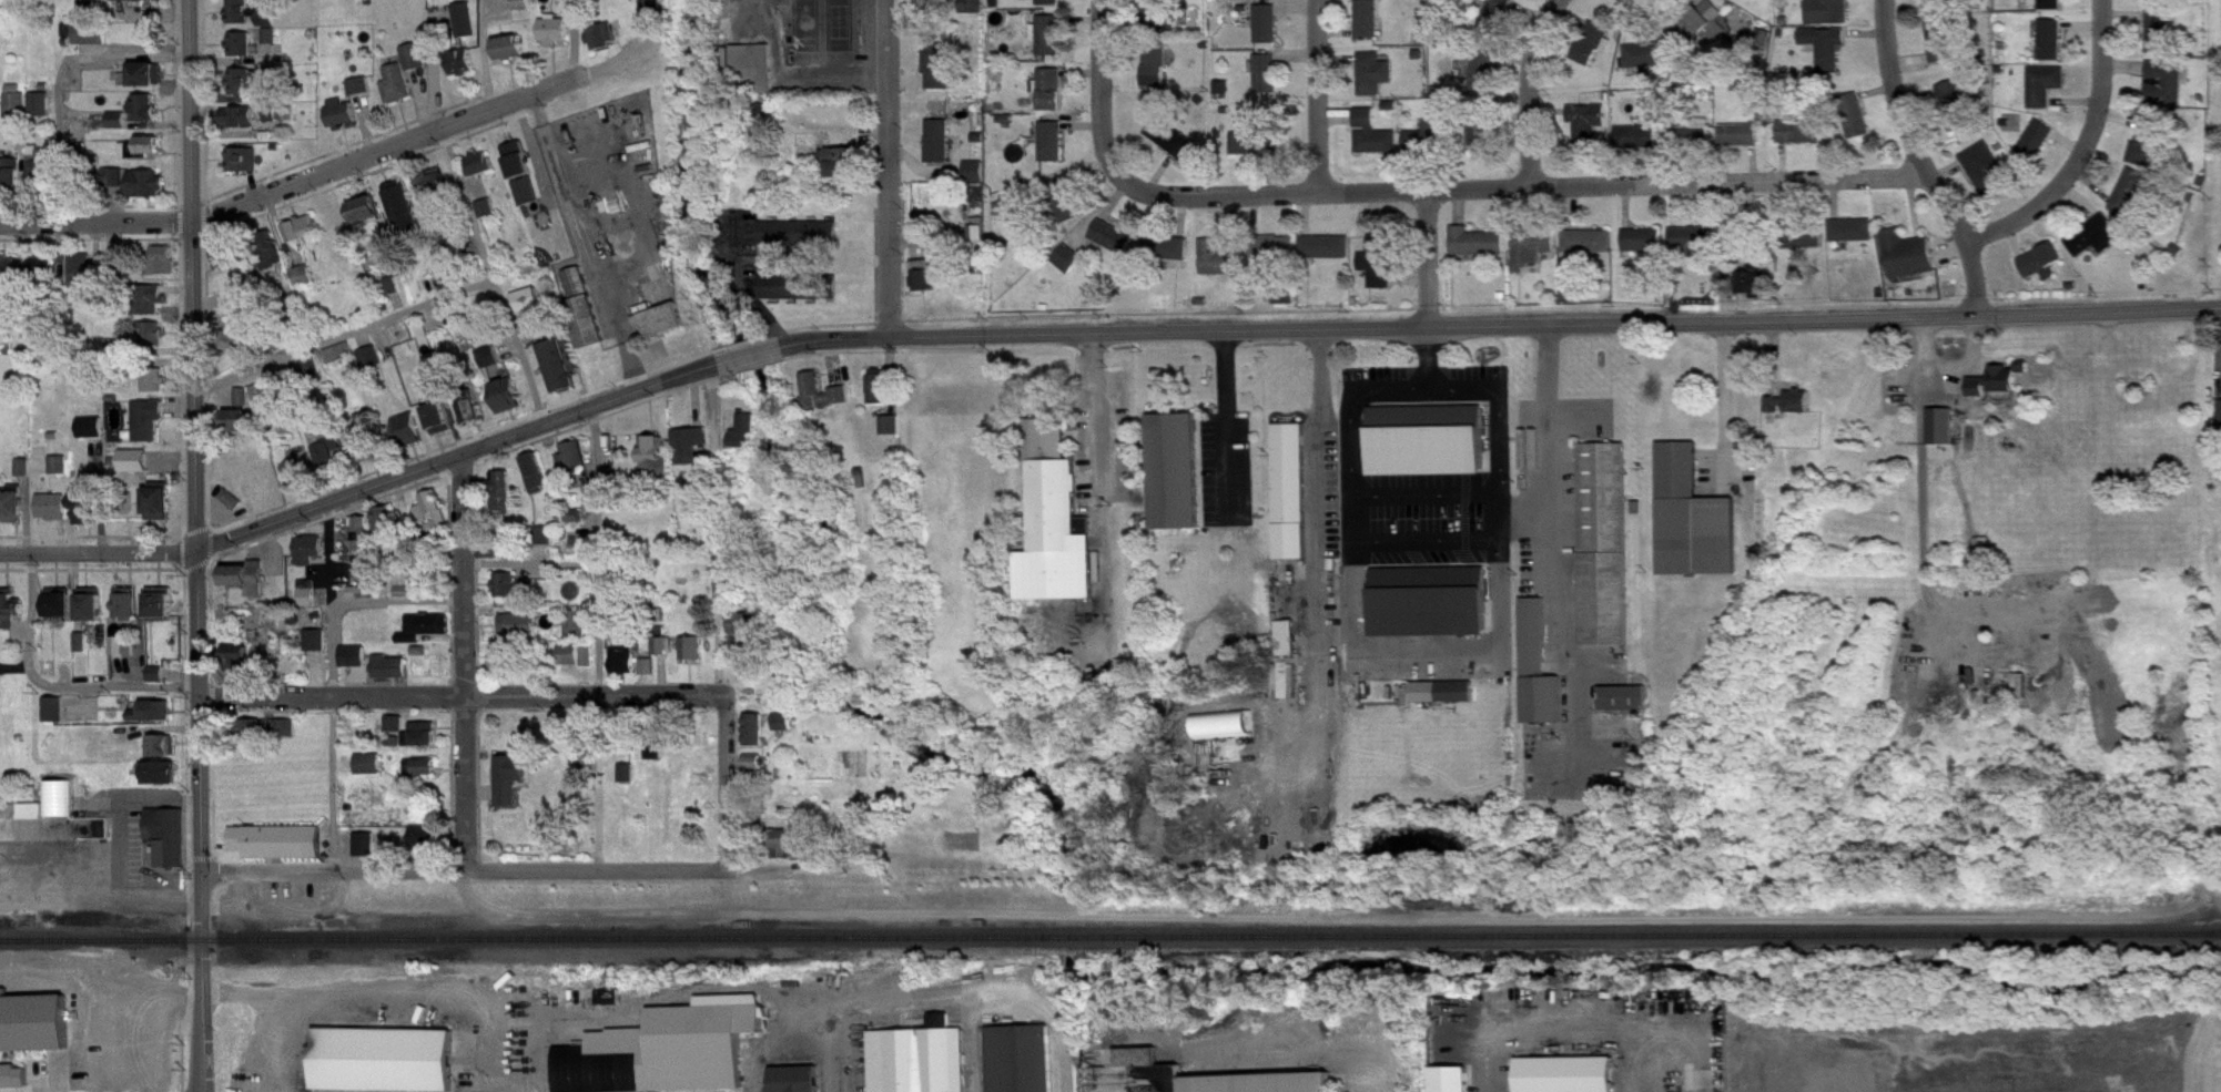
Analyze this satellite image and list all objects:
building: (1368, 0)
building: (1265, 1)
building: (1741, 1)
building: (576, 3)
building: (143, 4)
building: (2161, 4)
building: (1052, 7)
building: (1941, 8)
building: (525, 9)
building: (2053, 9)
building: (974, 13)
road: (176, 14)
building: (656, 17)
building: (1833, 17)
building: (1155, 18)
building: (243, 20)
building: (1499, 20)
road: (200, 21)
building: (271, 27)
building: (1370, 28)
building: (469, 29)
building: (1711, 31)
building: (1269, 32)
building: (557, 39)
building: (2162, 40)
building: (94, 43)
building: (273, 44)
building: (1053, 44)
building: (607, 45)
building: (2053, 49)
building: (1944, 51)
building: (1596, 52)
building: (244, 53)
building: (1828, 55)
building: (511, 57)
building: (1654, 63)
building: (418, 65)
building: (465, 71)
building: (942, 74)
building: (757, 75)
building: (1158, 76)
building: (1487, 80)
building: (1269, 82)
building: (1377, 82)
building: (150, 83)
building: (263, 88)
road: (1530, 89)
building: (2169, 92)
building: (400, 93)
road: (1102, 93)
building: (2048, 94)
building: (363, 95)
road: (1321, 95)
building: (1226, 96)
building: (1054, 99)
building: (1954, 113)
building: (20, 114)
building: (43, 114)
building: (149, 116)
building: (344, 121)
building: (277, 122)
building: (1858, 124)
building: (241, 126)
building: (121, 130)
building: (1590, 132)
building: (1803, 141)
building: (1377, 143)
building: (1695, 143)
building: (1743, 144)
building: (1172, 145)
building: (1481, 145)
building: (1640, 146)
building: (1429, 147)
building: (2039, 149)
building: (942, 150)
road: (2087, 150)
building: (2150, 150)
building: (1055, 151)
building: (1256, 152)
building: (148, 155)
road: (1921, 160)
road: (888, 167)
building: (246, 169)
road: (329, 169)
building: (520, 169)
building: (845, 171)
building: (484, 173)
building: (45, 177)
building: (1987, 177)
building: (16, 181)
building: (978, 181)
road: (1525, 186)
building: (437, 191)
building: (139, 192)
building: (530, 201)
building: (2132, 202)
building: (983, 203)
building: (1066, 210)
building: (405, 217)
building: (489, 217)
building: (369, 218)
building: (306, 238)
building: (1854, 239)
building: (803, 243)
building: (982, 243)
building: (1115, 246)
building: (2099, 246)
building: (1806, 247)
building: (1646, 248)
building: (1696, 248)
building: (1480, 251)
building: (1590, 251)
building: (1170, 256)
building: (1328, 256)
building: (1534, 256)
building: (1277, 257)
road: (1430, 259)
building: (1910, 264)
building: (229, 266)
building: (1072, 267)
building: (166, 268)
building: (1220, 268)
building: (2045, 268)
building: (1382, 271)
building: (275, 273)
building: (11, 276)
road: (491, 276)
building: (51, 277)
building: (88, 279)
building: (927, 285)
building: (1758, 288)
building: (579, 292)
building: (395, 295)
building: (803, 296)
building: (249, 300)
building: (1287, 306)
building: (154, 308)
building: (530, 308)
road: (763, 317)
road: (1499, 328)
building: (588, 329)
building: (666, 329)
road: (343, 335)
building: (154, 343)
building: (240, 351)
road: (750, 355)
road: (1431, 359)
building: (343, 363)
building: (493, 366)
building: (373, 367)
building: (559, 375)
building: (314, 379)
building: (158, 390)
building: (1997, 390)
building: (881, 395)
building: (268, 401)
building: (825, 401)
building: (510, 405)
building: (246, 406)
road: (1731, 409)
building: (1793, 411)
building: (474, 420)
road: (1225, 421)
road: (1498, 421)
building: (440, 425)
building: (150, 427)
road: (1096, 428)
building: (241, 429)
building: (894, 433)
building: (1945, 435)
building: (94, 437)
building: (410, 439)
building: (1424, 439)
building: (748, 440)
building: (693, 453)
building: (368, 455)
building: (331, 456)
road: (1550, 456)
building: (577, 465)
building: (659, 465)
building: (62, 474)
building: (27, 477)
building: (303, 479)
building: (1178, 480)
building: (539, 481)
building: (1288, 489)
road: (367, 491)
road: (1430, 493)
building: (506, 501)
road: (1349, 507)
building: (234, 508)
building: (88, 511)
building: (163, 512)
building: (17, 513)
road: (1523, 514)
building: (55, 516)
building: (435, 519)
building: (387, 527)
building: (1695, 527)
building: (1601, 541)
road: (192, 545)
building: (1058, 547)
building: (364, 548)
road: (596, 553)
road: (1322, 555)
building: (312, 558)
building: (250, 585)
building: (509, 593)
building: (530, 595)
building: (728, 598)
building: (1427, 599)
building: (308, 600)
road: (327, 601)
road: (394, 602)
building: (62, 612)
building: (130, 613)
building: (164, 613)
building: (94, 614)
building: (11, 618)
building: (578, 632)
building: (746, 633)
building: (520, 634)
building: (427, 636)
building: (1290, 646)
building: (317, 649)
building: (84, 651)
building: (667, 654)
building: (120, 655)
building: (696, 657)
building: (571, 664)
building: (1535, 664)
building: (355, 665)
road: (462, 665)
building: (507, 665)
building: (590, 666)
building: (241, 669)
building: (627, 670)
building: (650, 675)
building: (392, 676)
building: (50, 677)
building: (160, 683)
building: (1289, 685)
road: (49, 687)
road: (464, 697)
building: (1448, 701)
building: (1627, 706)
building: (55, 718)
building: (155, 721)
building: (788, 731)
building: (397, 733)
building: (1227, 734)
building: (287, 737)
building: (256, 739)
building: (758, 739)
building: (424, 744)
building: (165, 755)
building: (659, 762)
building: (758, 772)
building: (372, 774)
building: (424, 776)
building: (629, 782)
road: (727, 782)
building: (164, 783)
road: (329, 784)
building: (513, 788)
building: (33, 820)
building: (171, 845)
building: (429, 846)
building: (281, 850)
building: (789, 853)
building: (368, 854)
road: (464, 869)
railway: (1110, 933)
road: (393, 992)
building: (613, 1007)
road: (1575, 1010)
building: (32, 1038)
building: (623, 1050)
road: (802, 1059)
building: (924, 1063)
building: (1026, 1063)
building: (387, 1064)
building: (1142, 1067)
road: (1365, 1078)
building: (1572, 1079)
road: (496, 1083)
building: (1456, 1083)
building: (799, 1084)

